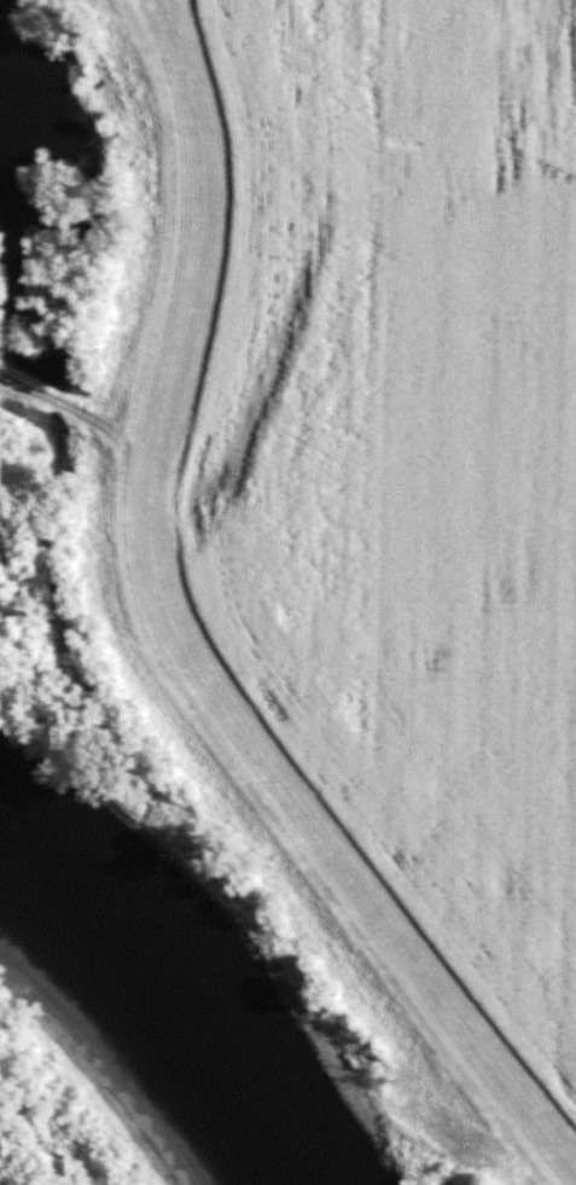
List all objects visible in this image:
crop: (403, 458)
river: (149, 981)

